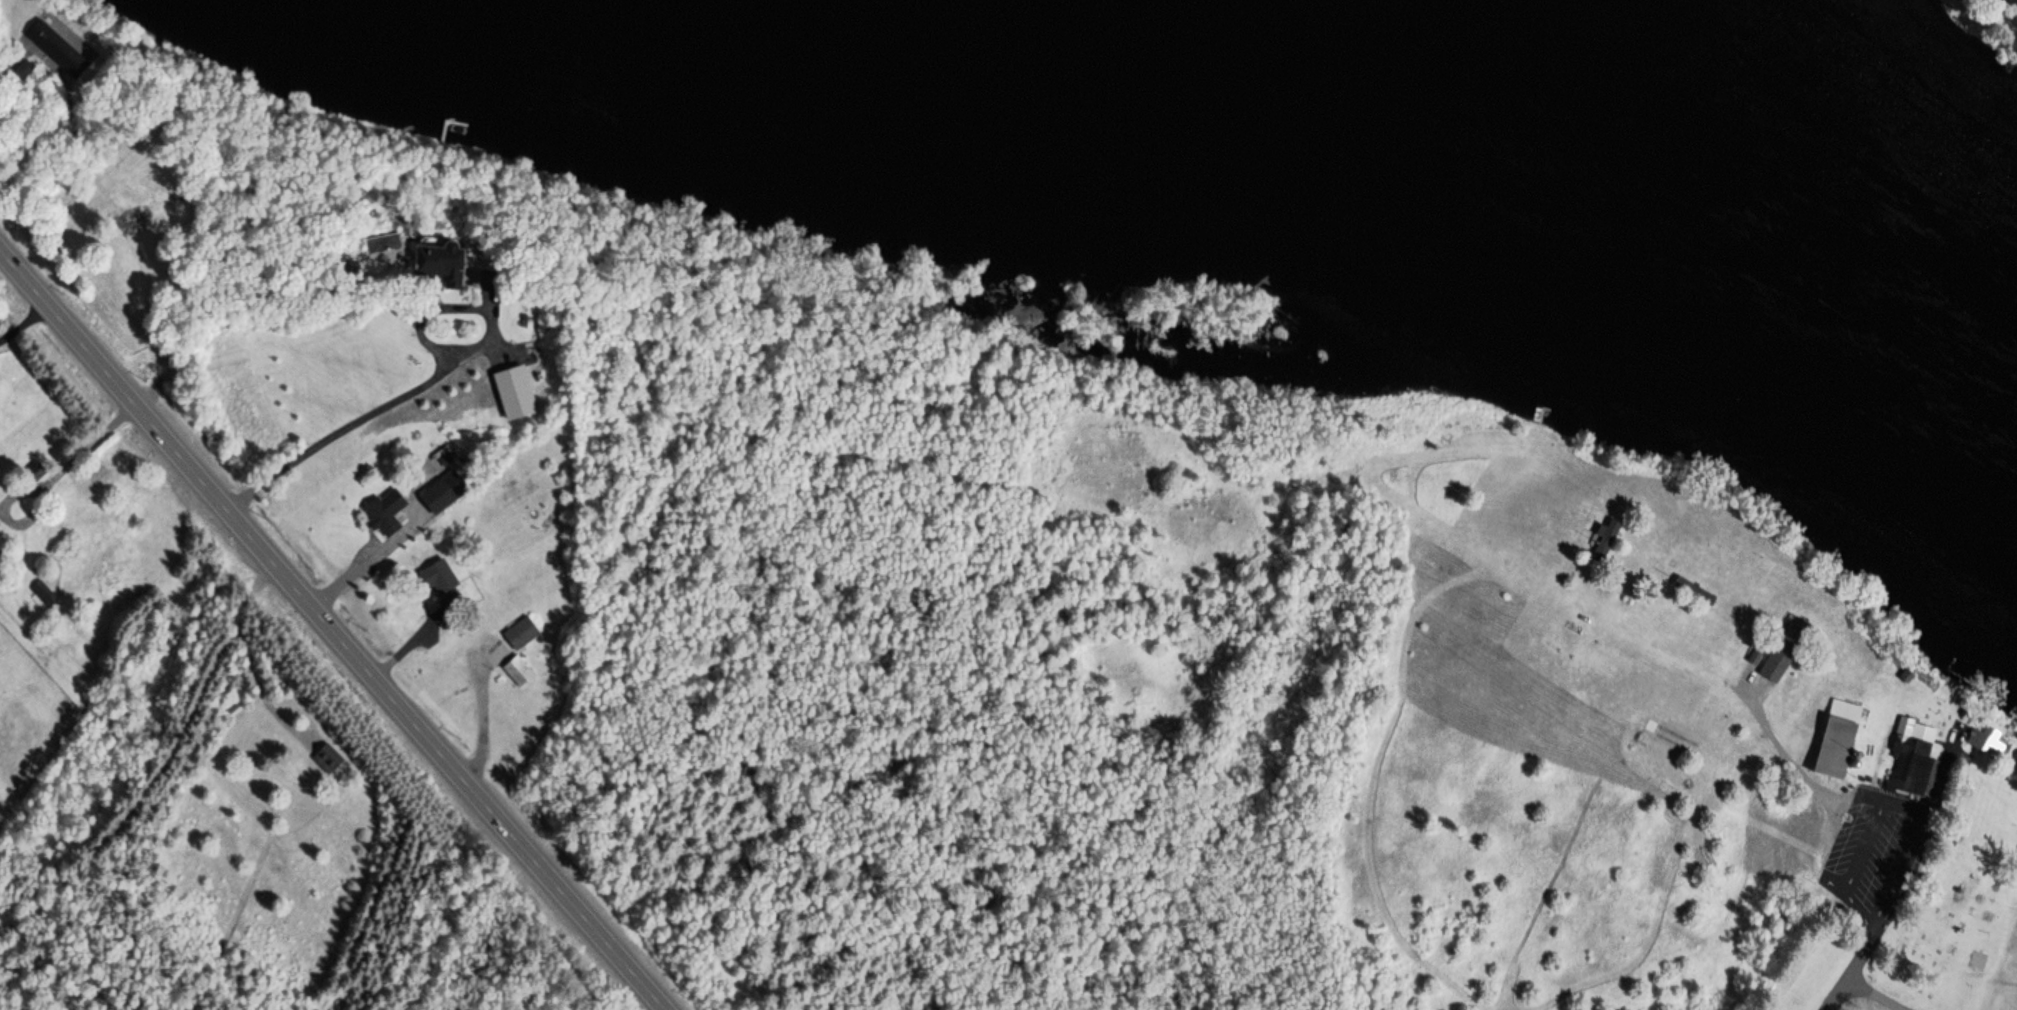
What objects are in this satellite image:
building: (44, 36)
building: (23, 69)
river: (1419, 108)
building: (419, 255)
building: (512, 392)
road: (370, 418)
building: (32, 472)
building: (434, 496)
building: (384, 510)
building: (1605, 537)
building: (436, 578)
building: (43, 592)
road: (332, 629)
building: (520, 633)
building: (1774, 662)
building: (517, 670)
building: (1833, 739)
building: (1982, 741)
building: (1910, 747)
building: (326, 757)
road: (1874, 925)
road: (1876, 993)

